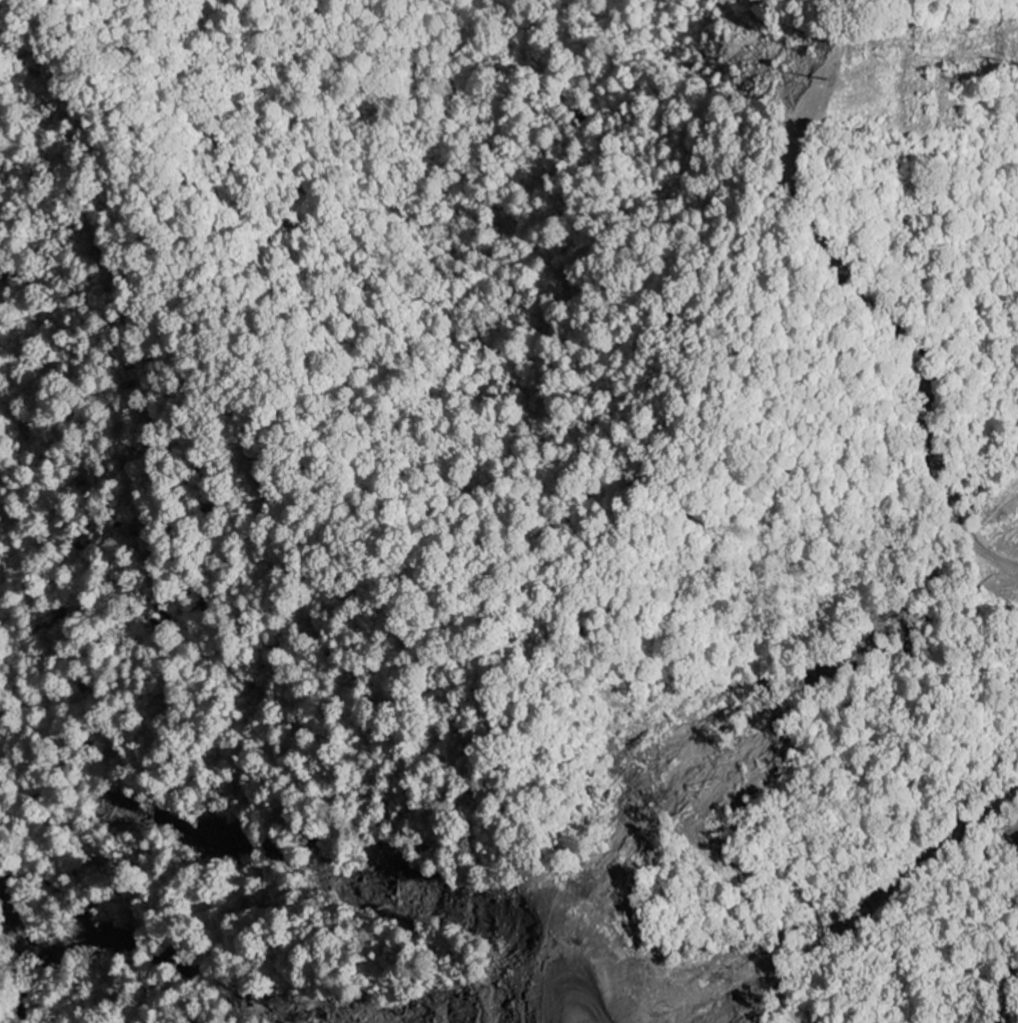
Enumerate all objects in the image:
power tower: (835, 79)

